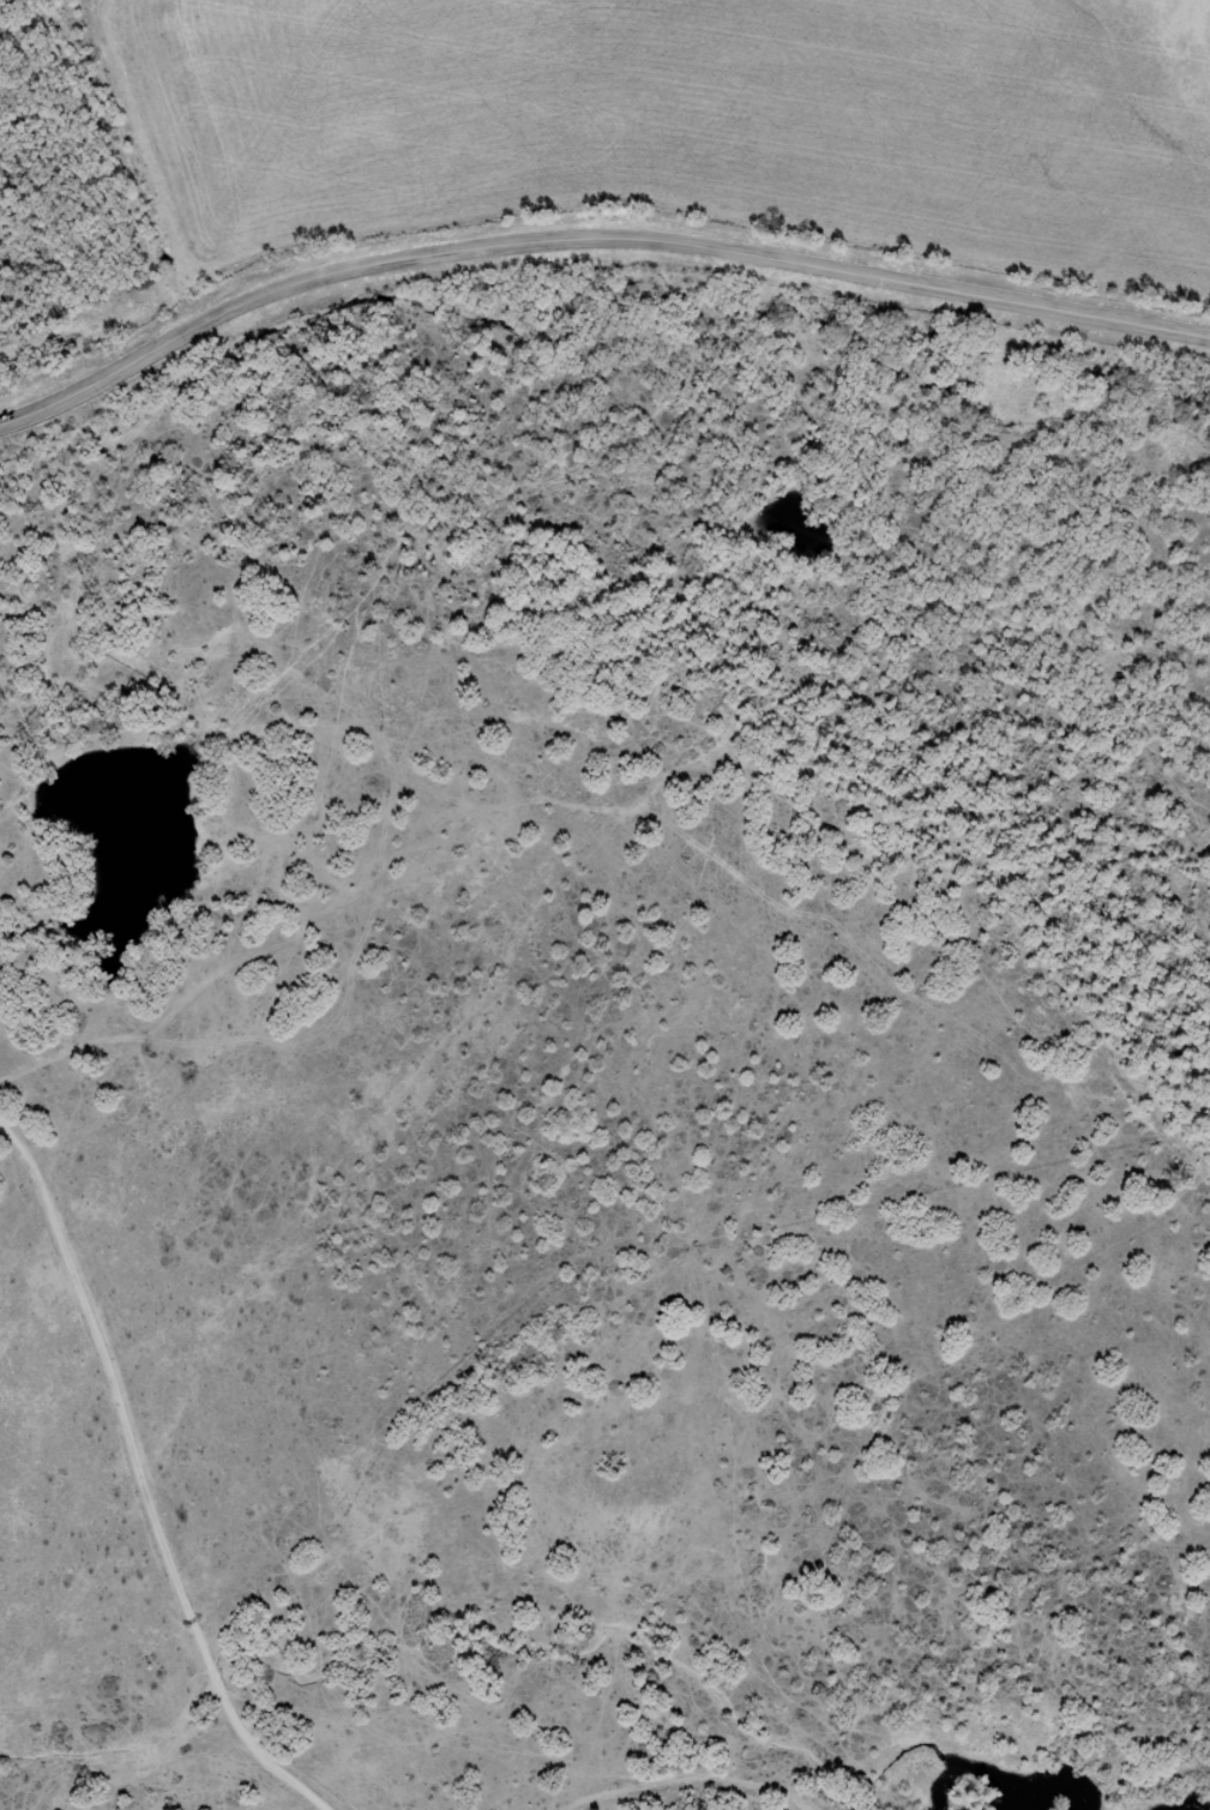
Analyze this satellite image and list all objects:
road: (591, 239)

